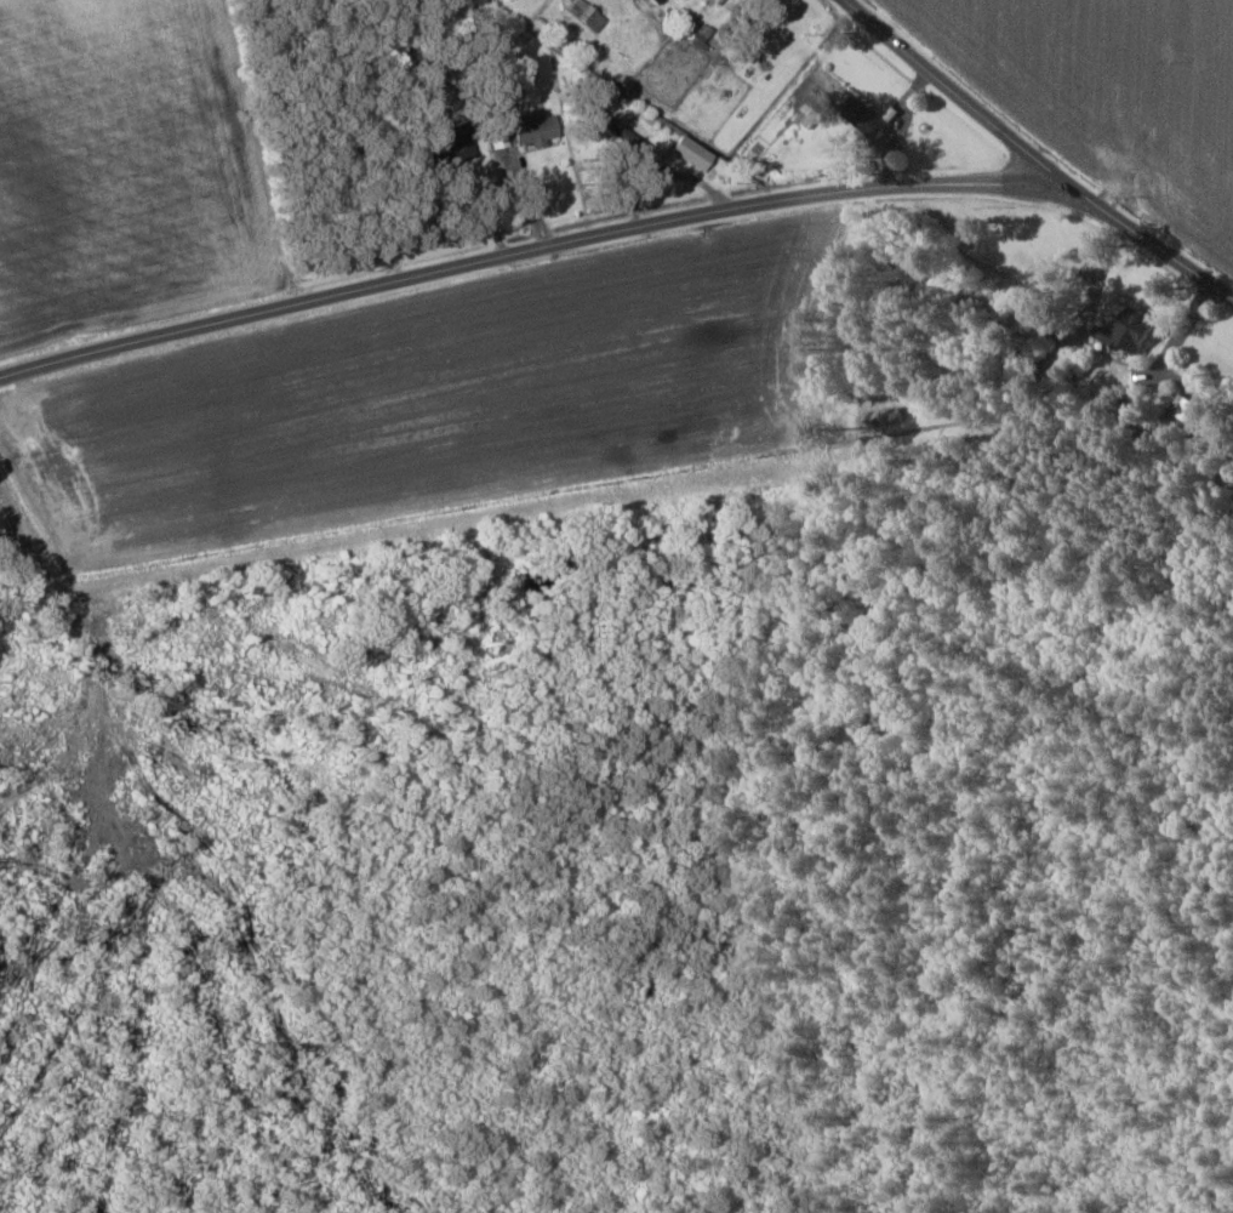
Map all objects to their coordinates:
road: (969, 90)
building: (811, 107)
building: (532, 127)
building: (498, 138)
building: (453, 147)
building: (691, 152)
road: (626, 232)
building: (1132, 330)
building: (1195, 411)

